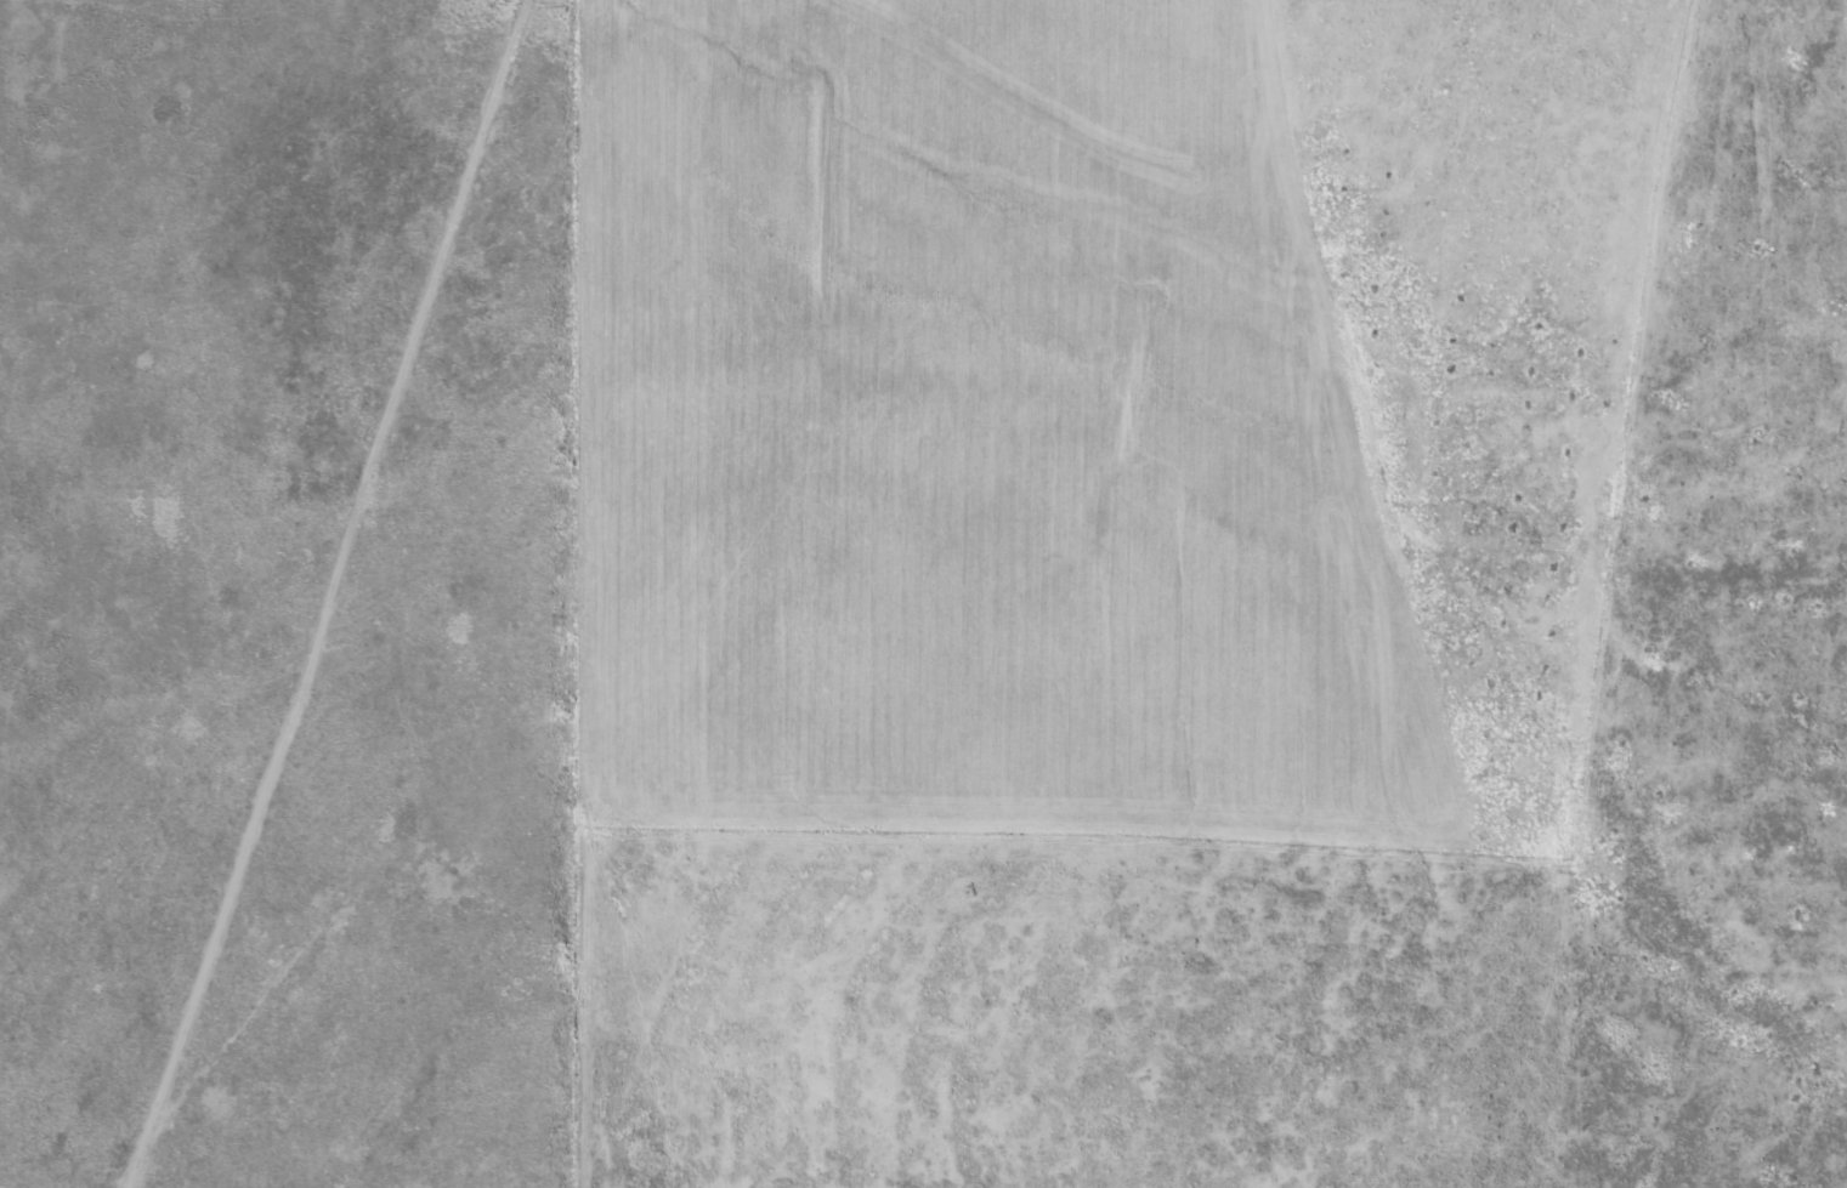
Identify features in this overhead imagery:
road: (600, 593)

